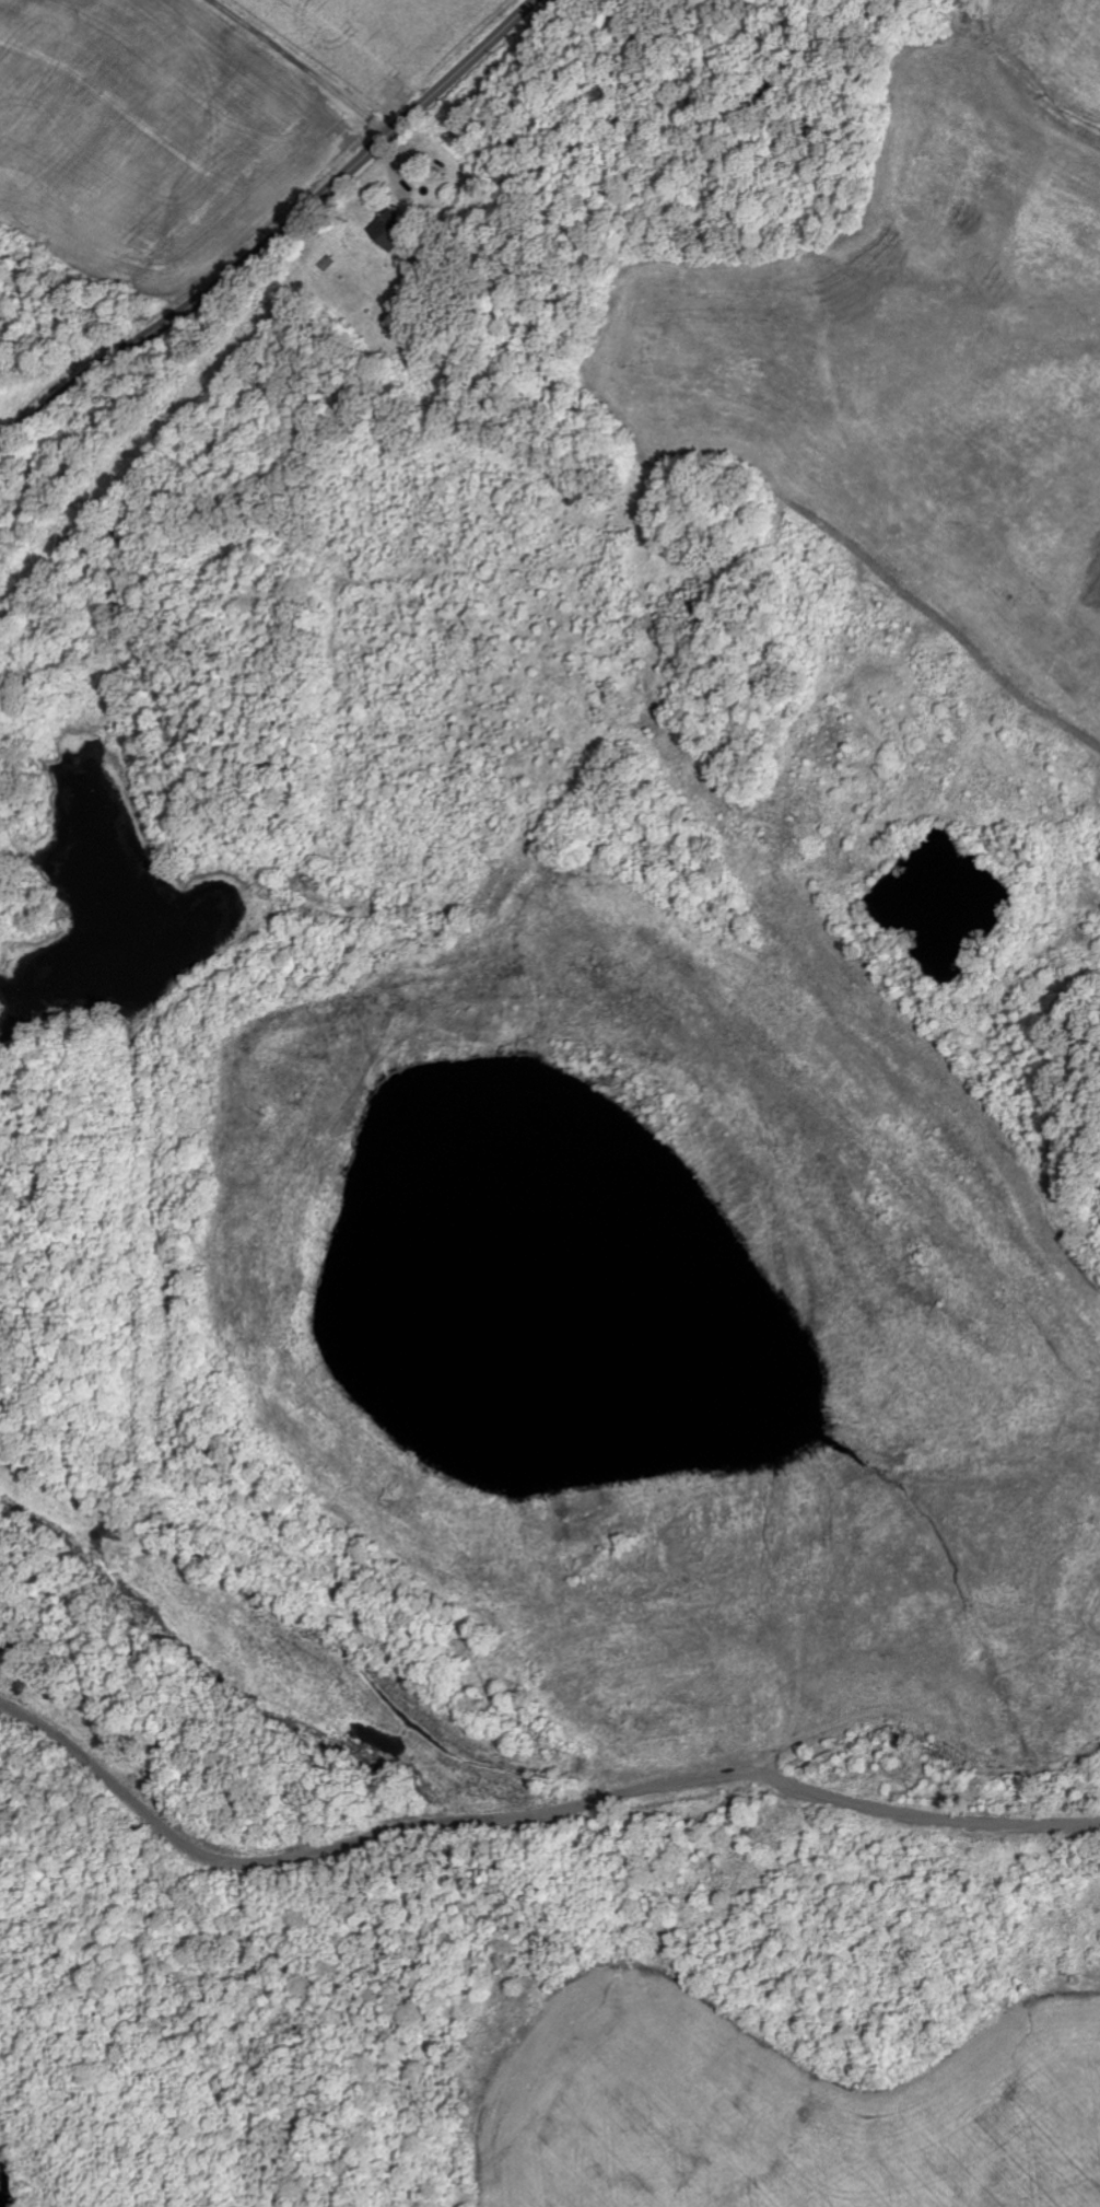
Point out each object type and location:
road: (300, 66)
building: (396, 231)
road: (274, 236)

